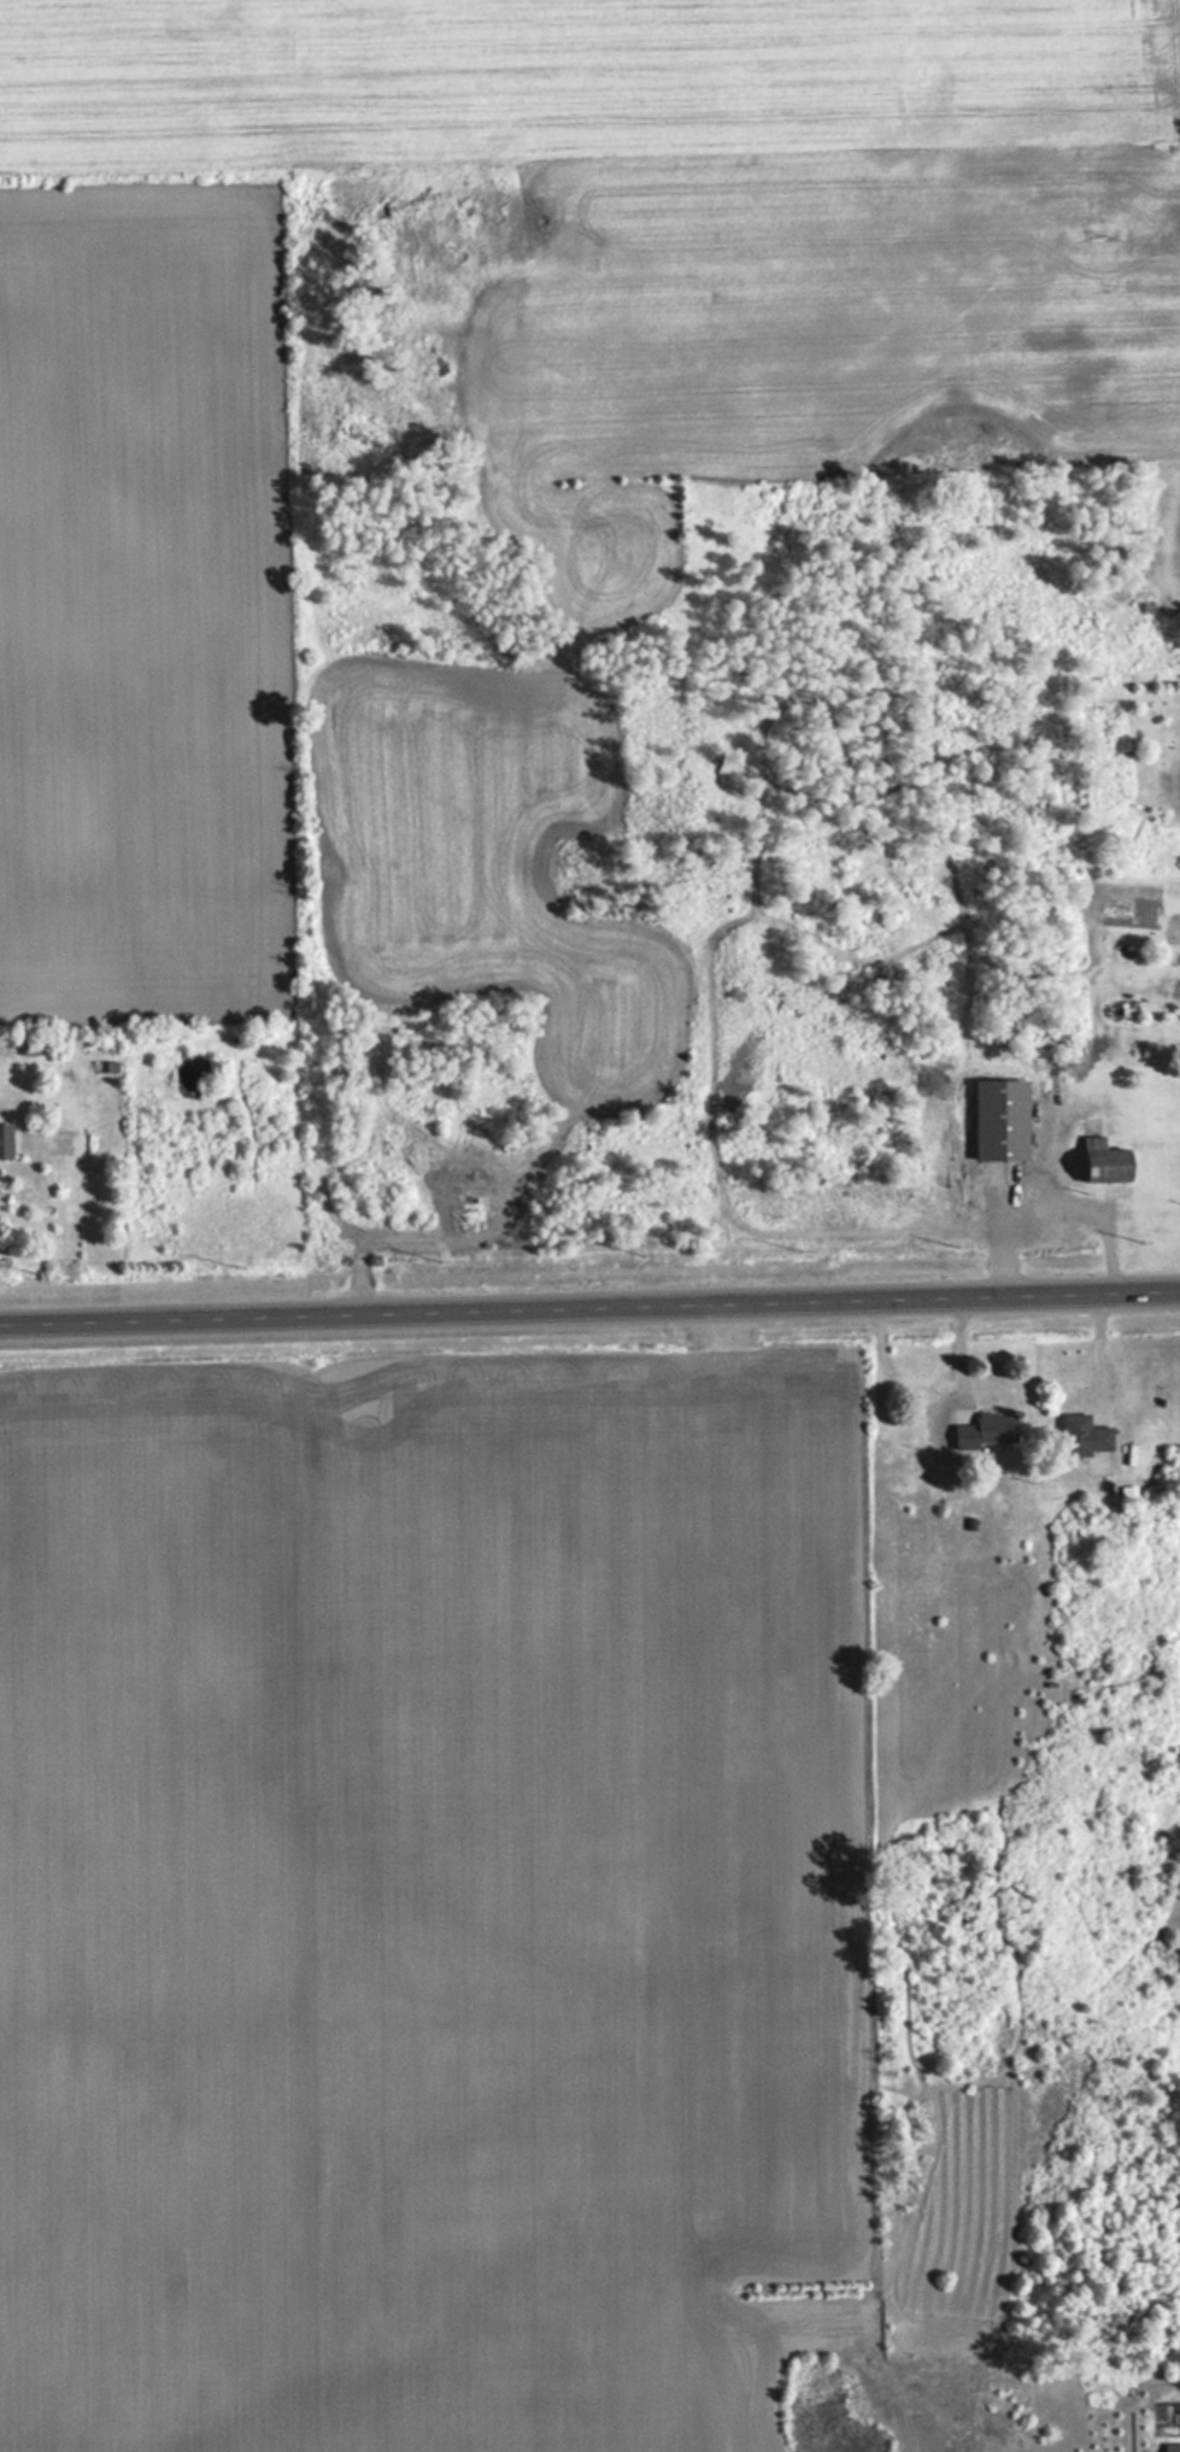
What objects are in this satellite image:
building: (30, 1051)
building: (1004, 1122)
building: (6, 1144)
building: (1109, 1166)
road: (589, 1306)
building: (998, 1427)
building: (1085, 1435)
building: (1173, 2447)

